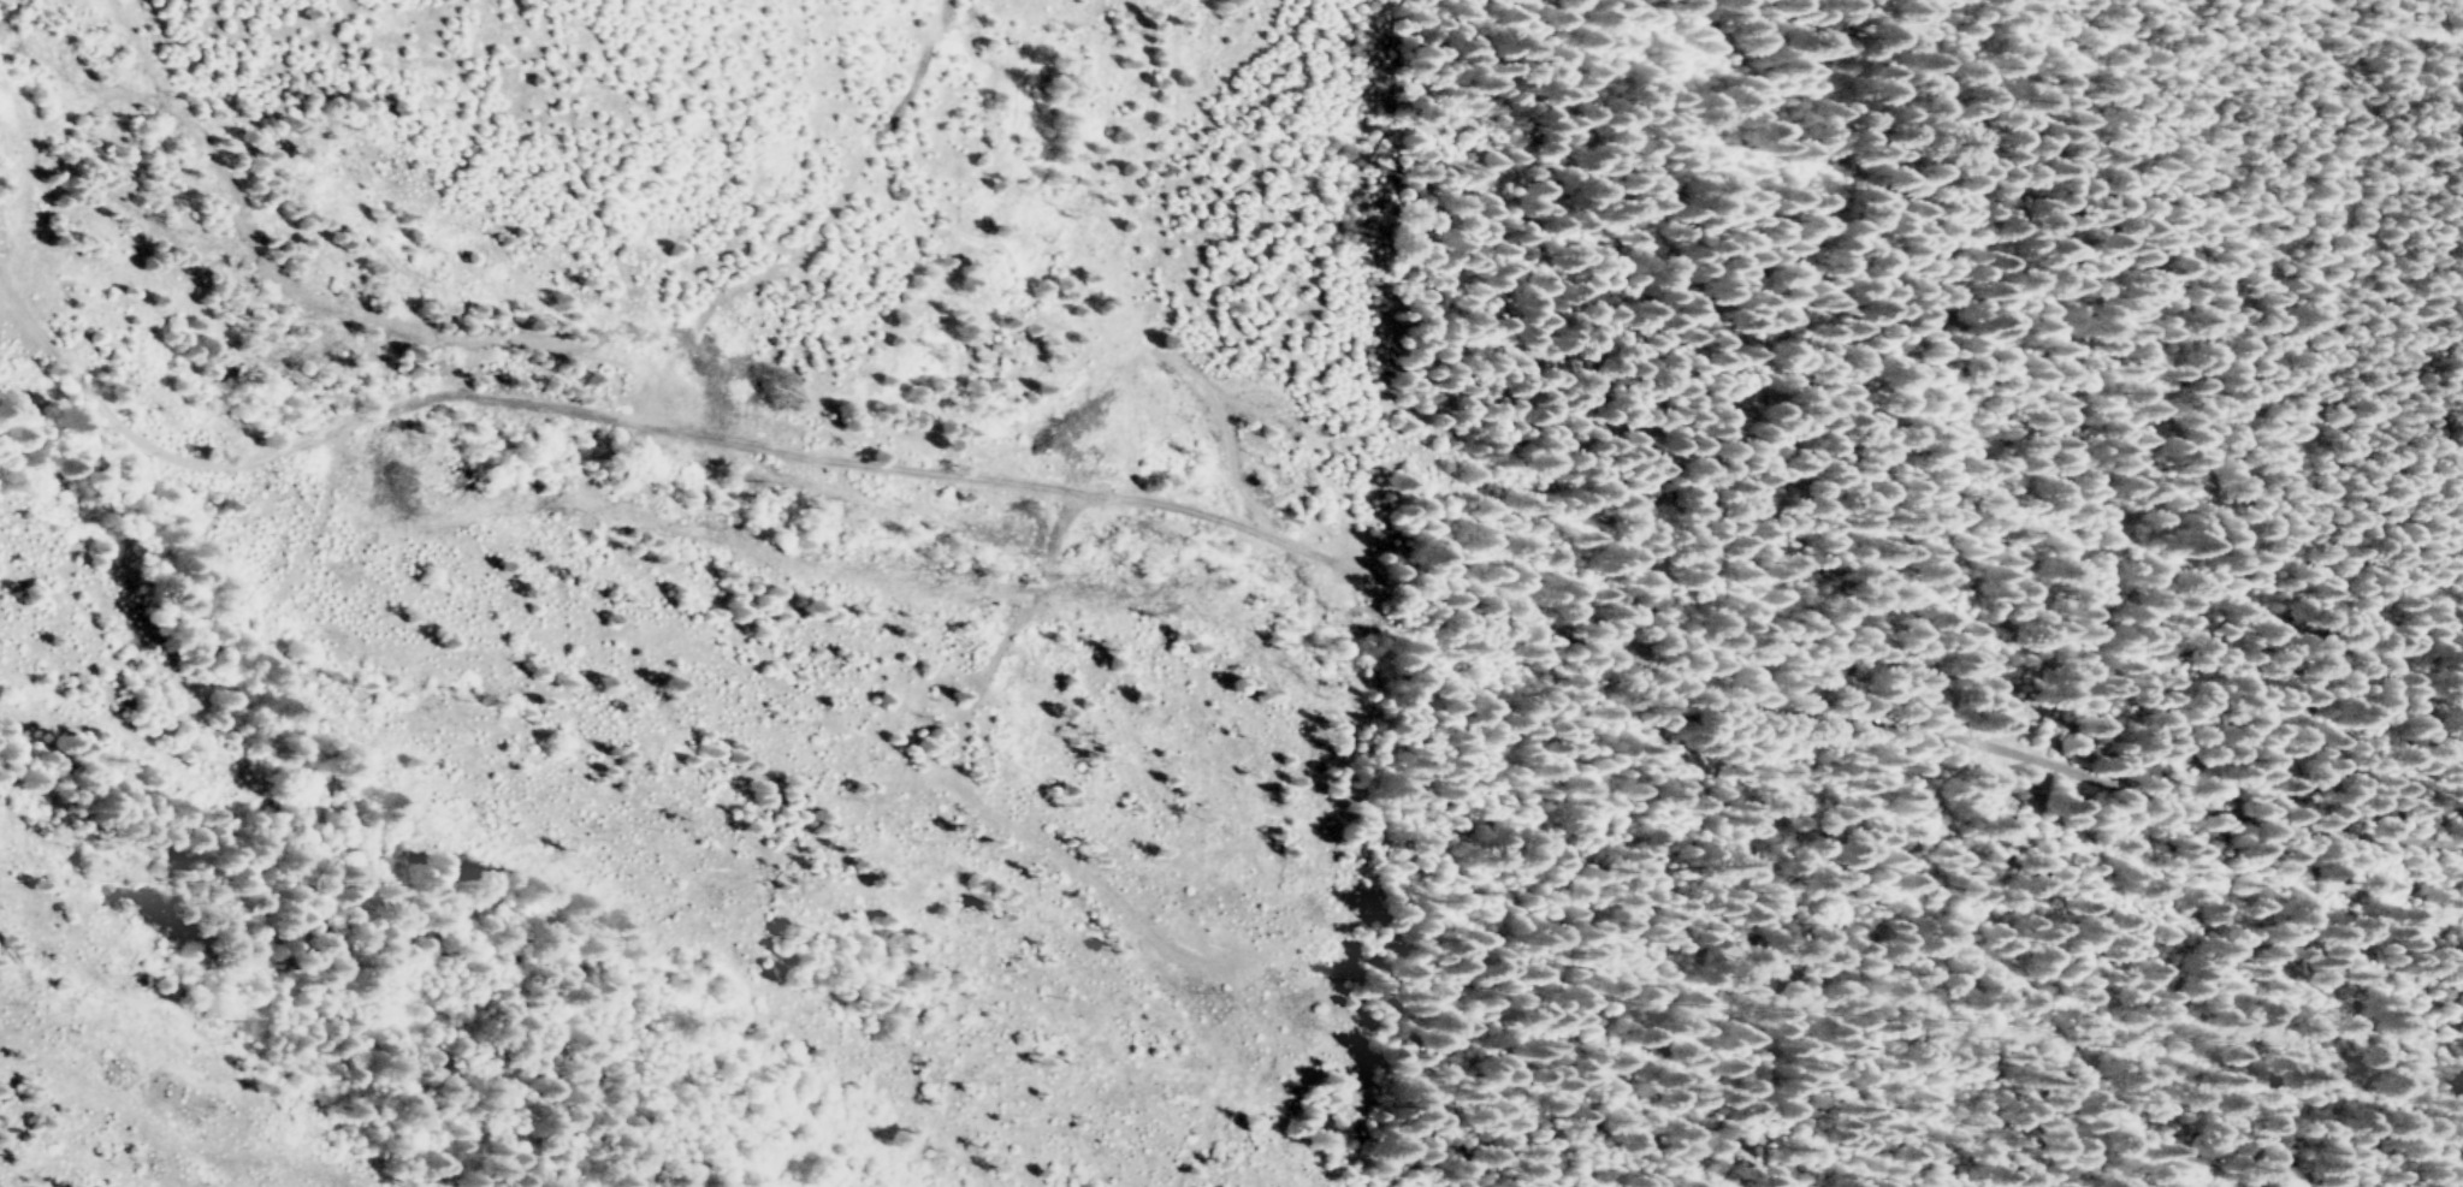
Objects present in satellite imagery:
road: (1948, 749)

